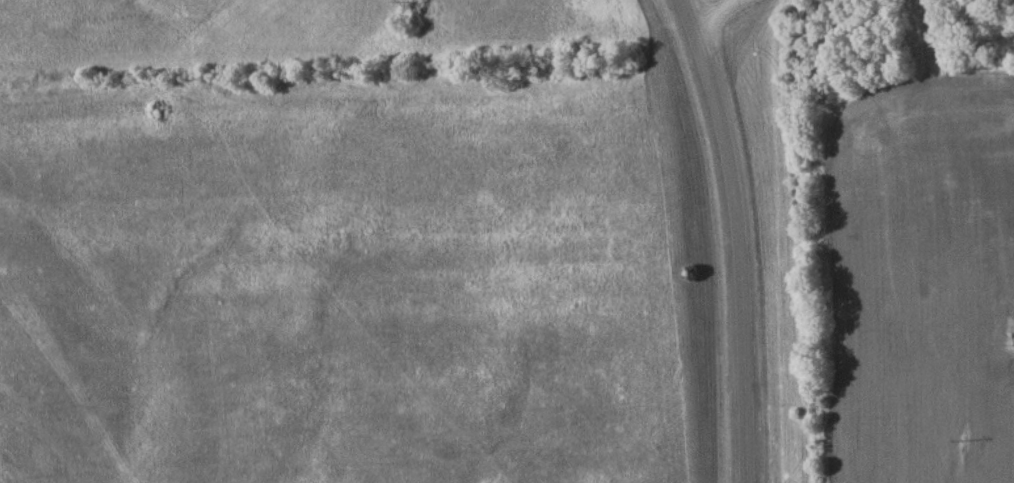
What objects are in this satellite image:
road: (720, 12)
road: (738, 238)

